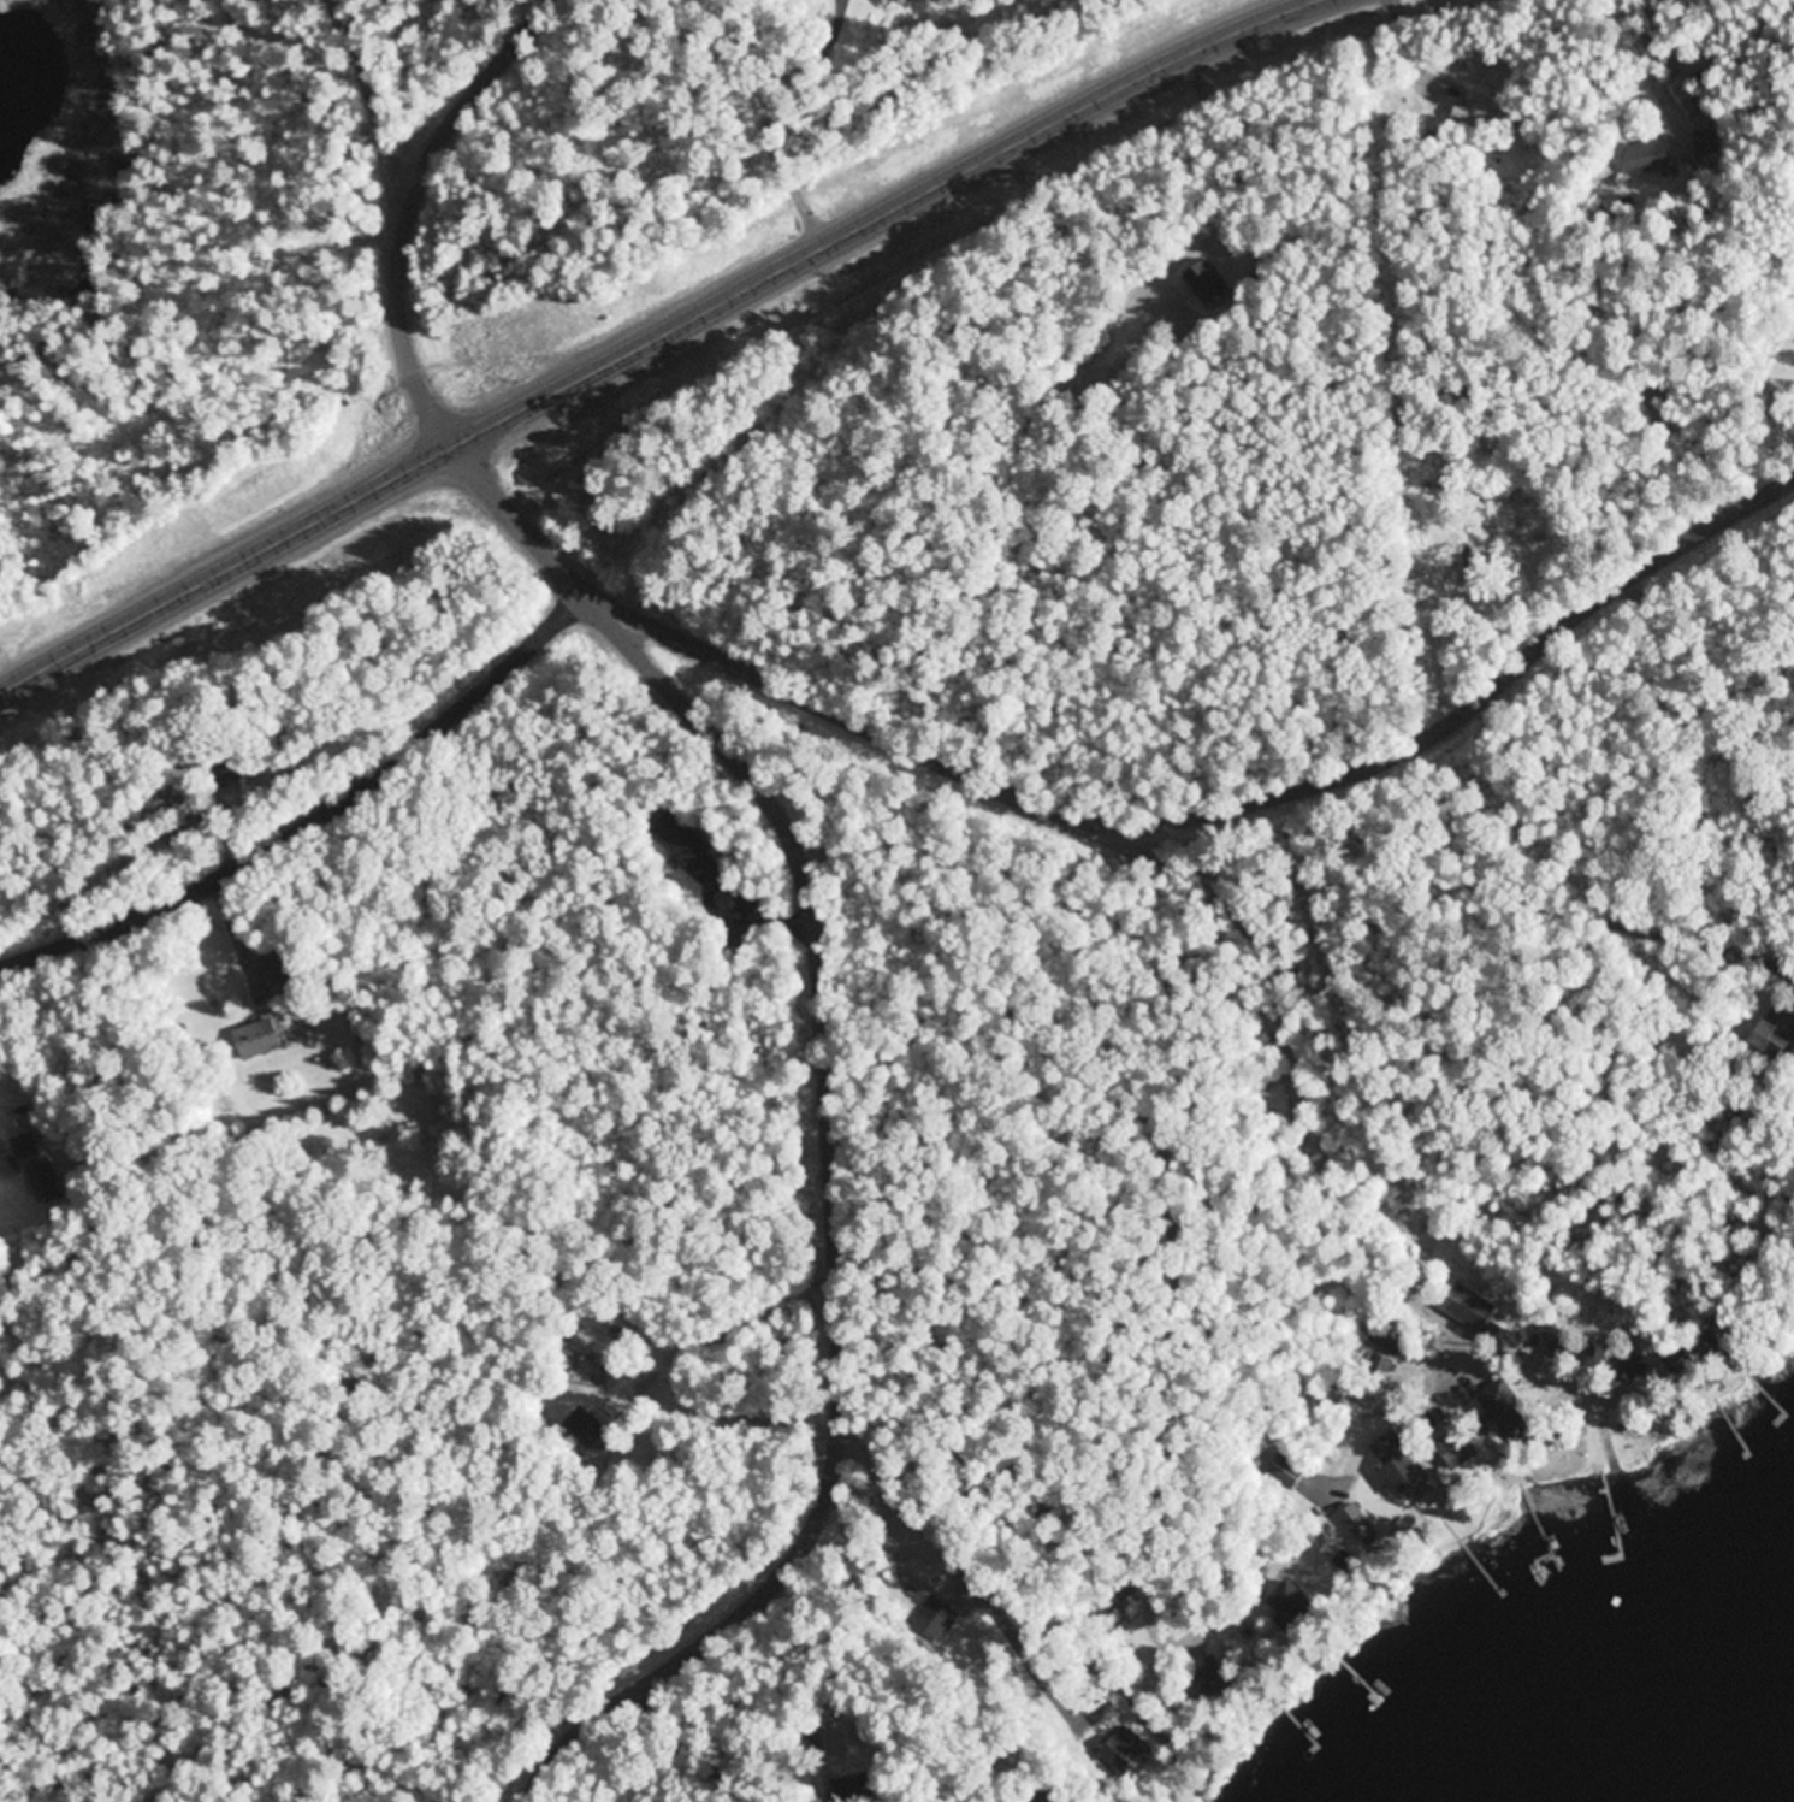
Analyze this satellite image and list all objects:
road: (1403, 53)
road: (1656, 75)
road: (377, 100)
road: (762, 114)
building: (1647, 159)
road: (405, 205)
building: (1202, 274)
road: (600, 317)
road: (653, 336)
road: (682, 348)
road: (1709, 723)
building: (231, 770)
road: (1219, 816)
road: (313, 817)
building: (688, 847)
road: (1492, 898)
road: (762, 915)
road: (244, 937)
building: (262, 1040)
road: (828, 1122)
building: (22, 1142)
building: (43, 1183)
road: (1346, 1209)
road: (1176, 1224)
building: (1561, 1339)
building: (1503, 1408)
road: (1389, 1418)
building: (1401, 1465)
building: (1357, 1523)
building: (1344, 1562)
road: (971, 1584)
building: (1297, 1607)
road: (688, 1755)
building: (854, 1789)

